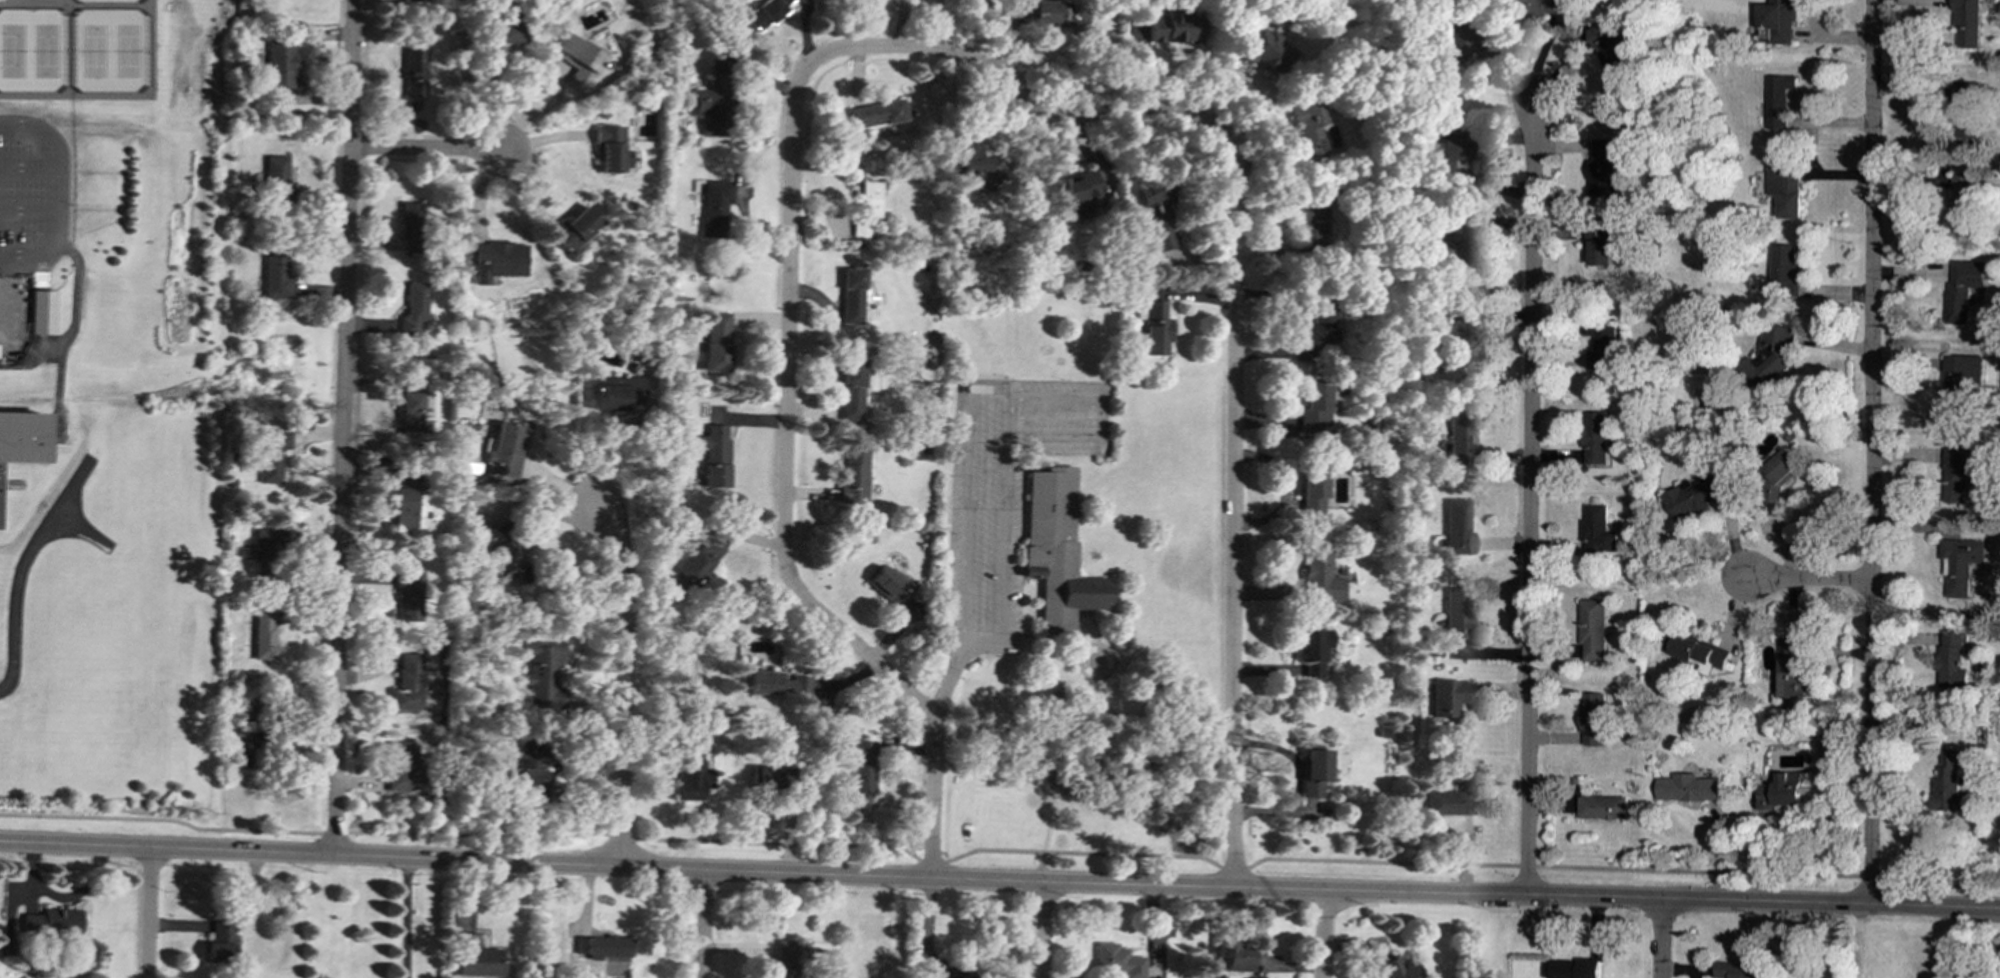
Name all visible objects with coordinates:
building: (419, 0)
road: (37, 3)
road: (111, 4)
building: (1535, 8)
building: (766, 12)
building: (1058, 14)
building: (1779, 21)
building: (1968, 23)
building: (1173, 27)
building: (503, 32)
building: (1453, 48)
park: (46, 49)
road: (71, 49)
park: (127, 49)
park: (13, 50)
park: (94, 50)
building: (1607, 50)
building: (1262, 51)
building: (578, 59)
building: (280, 63)
building: (414, 69)
road: (557, 76)
road: (122, 94)
building: (1779, 100)
building: (713, 106)
building: (1966, 110)
building: (877, 113)
building: (1307, 126)
road: (510, 134)
building: (1447, 145)
building: (610, 148)
road: (425, 149)
building: (979, 164)
road: (26, 166)
building: (1601, 170)
building: (276, 173)
building: (1786, 189)
road: (53, 193)
building: (1076, 194)
building: (1963, 203)
building: (715, 207)
building: (863, 207)
road: (27, 210)
parking lot: (29, 221)
building: (1307, 222)
building: (410, 225)
building: (575, 228)
building: (1598, 244)
building: (497, 261)
building: (1783, 270)
building: (276, 274)
building: (1962, 288)
building: (851, 296)
building: (413, 308)
building: (44, 311)
building: (1320, 321)
building: (1155, 327)
road: (69, 331)
building: (1455, 331)
building: (716, 342)
building: (1601, 345)
road: (51, 351)
road: (788, 357)
building: (1769, 357)
building: (1968, 371)
building: (610, 380)
building: (850, 389)
building: (618, 394)
building: (410, 405)
building: (1314, 408)
road: (1098, 417)
road: (342, 427)
road: (1235, 434)
building: (1594, 438)
building: (22, 445)
building: (503, 449)
road: (605, 449)
road: (1870, 452)
building: (271, 454)
building: (714, 454)
building: (1780, 469)
building: (1957, 474)
building: (853, 475)
road: (968, 489)
building: (1311, 489)
building: (1692, 496)
road: (1528, 497)
building: (405, 498)
road: (540, 513)
road: (1005, 517)
road: (83, 526)
building: (1457, 527)
building: (1597, 533)
building: (1056, 550)
building: (502, 552)
building: (702, 564)
building: (1958, 564)
road: (24, 566)
building: (1319, 575)
road: (1806, 580)
building: (889, 584)
building: (408, 594)
building: (1457, 613)
building: (1593, 631)
building: (264, 635)
building: (1312, 650)
building: (1694, 652)
road: (953, 660)
building: (1952, 660)
building: (542, 672)
building: (1788, 672)
building: (407, 683)
building: (774, 684)
road: (623, 685)
building: (1449, 696)
building: (1593, 719)
building: (243, 744)
building: (528, 765)
building: (861, 765)
building: (402, 767)
building: (1313, 771)
building: (766, 776)
building: (691, 777)
building: (1947, 784)
building: (1686, 788)
building: (1780, 791)
building: (1448, 803)
building: (1602, 808)
road: (998, 849)
road: (999, 883)
road: (149, 915)
road: (408, 919)
building: (51, 921)
road: (704, 925)
road: (1042, 931)
road: (1322, 935)
road: (1659, 940)
building: (218, 942)
building: (602, 946)
building: (1230, 949)
building: (474, 957)
building: (783, 960)
building: (1116, 960)
building: (1397, 968)
building: (954, 969)
building: (1572, 969)
building: (1743, 971)

